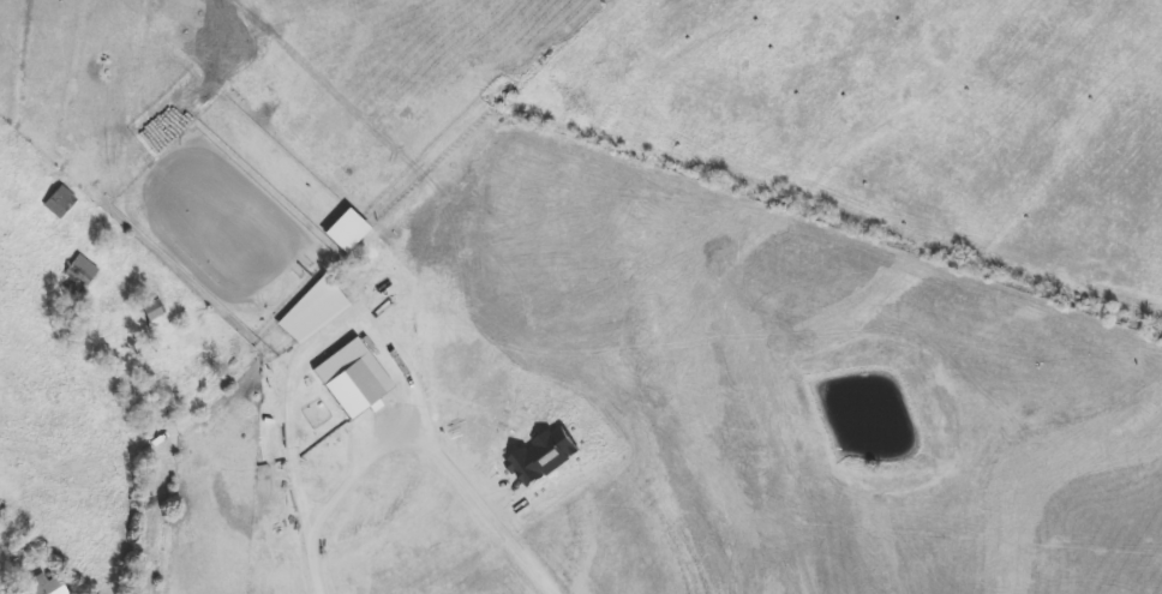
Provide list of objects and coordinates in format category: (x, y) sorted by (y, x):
building: (59, 200)
building: (77, 275)
building: (154, 310)
building: (43, 317)
building: (44, 586)

